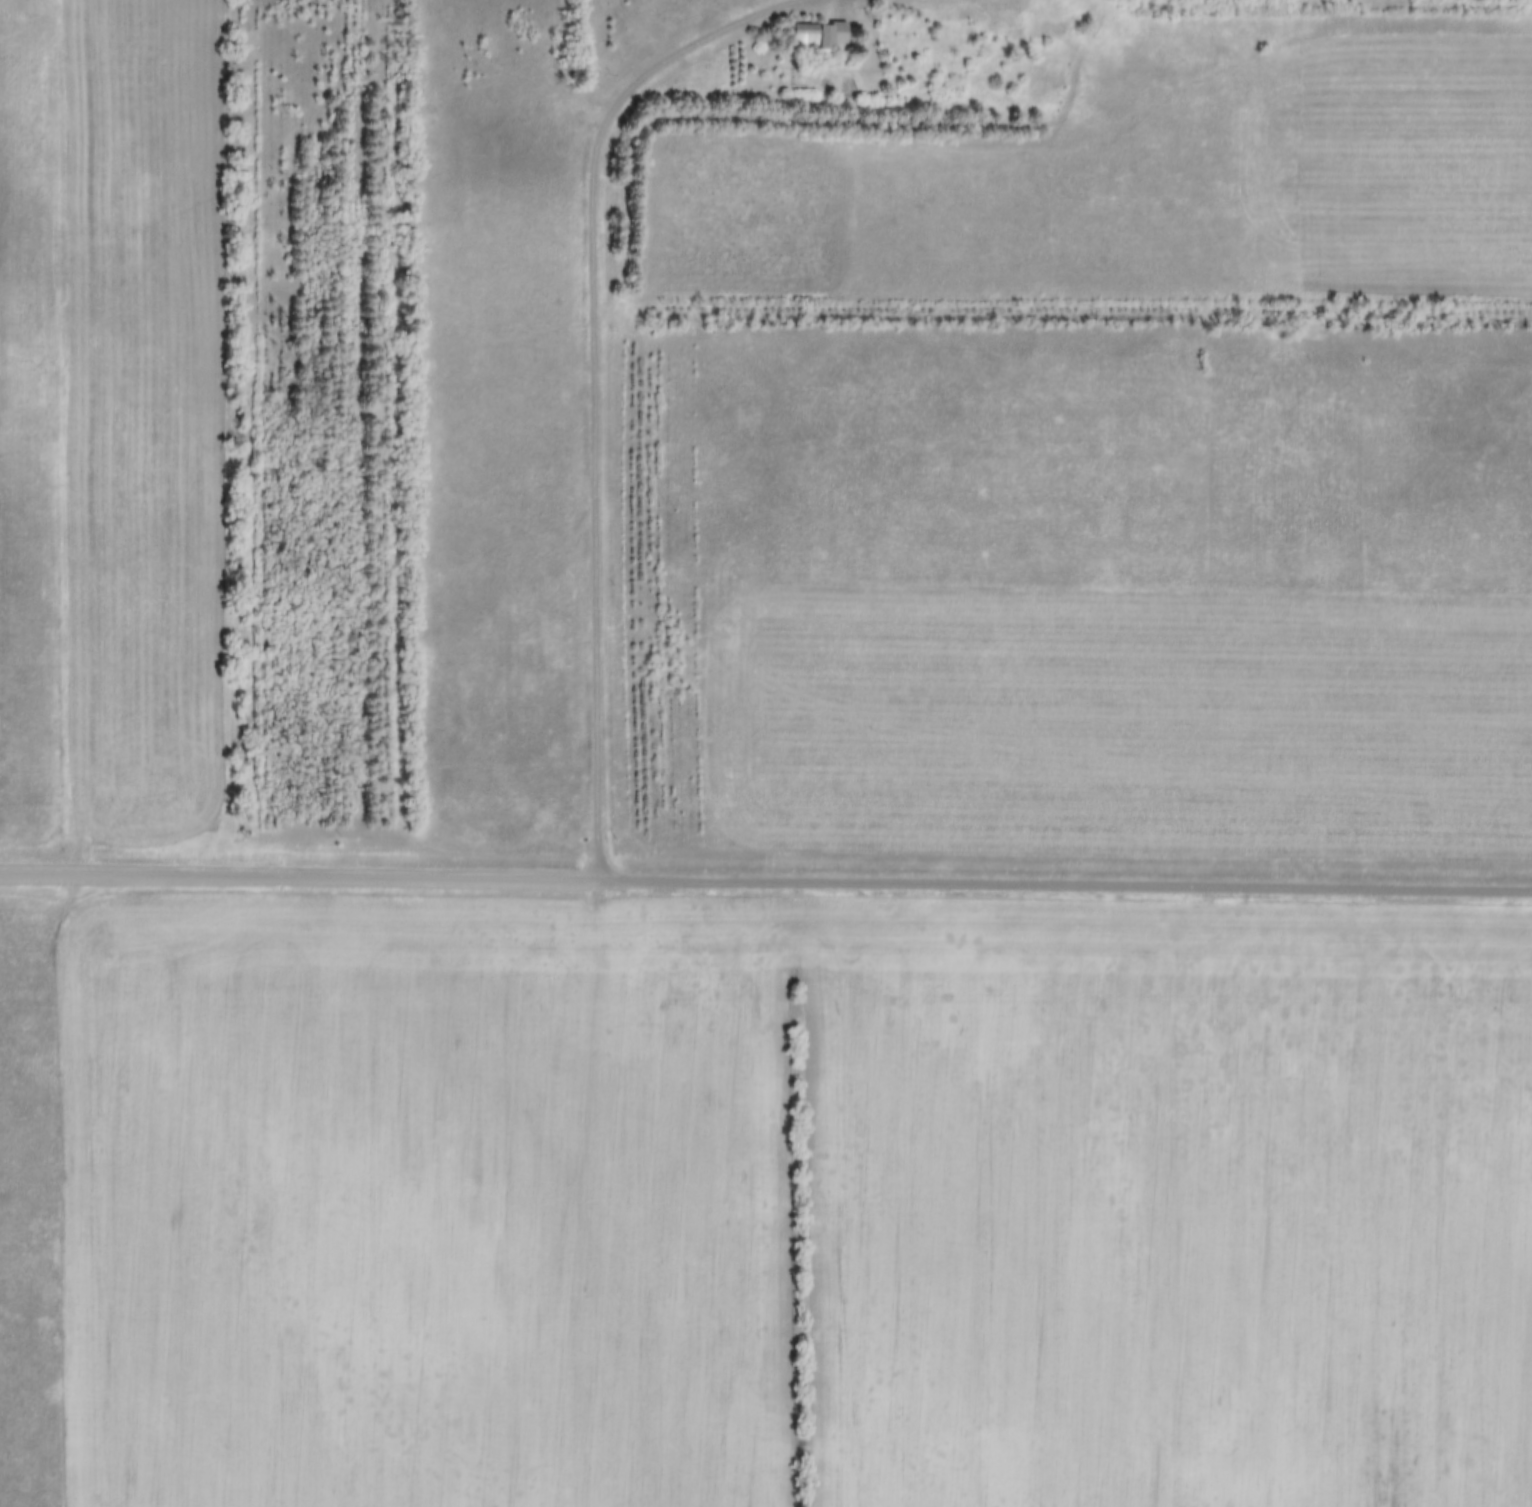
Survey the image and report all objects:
building: (825, 33)
road: (589, 62)
road: (596, 378)
road: (766, 886)

